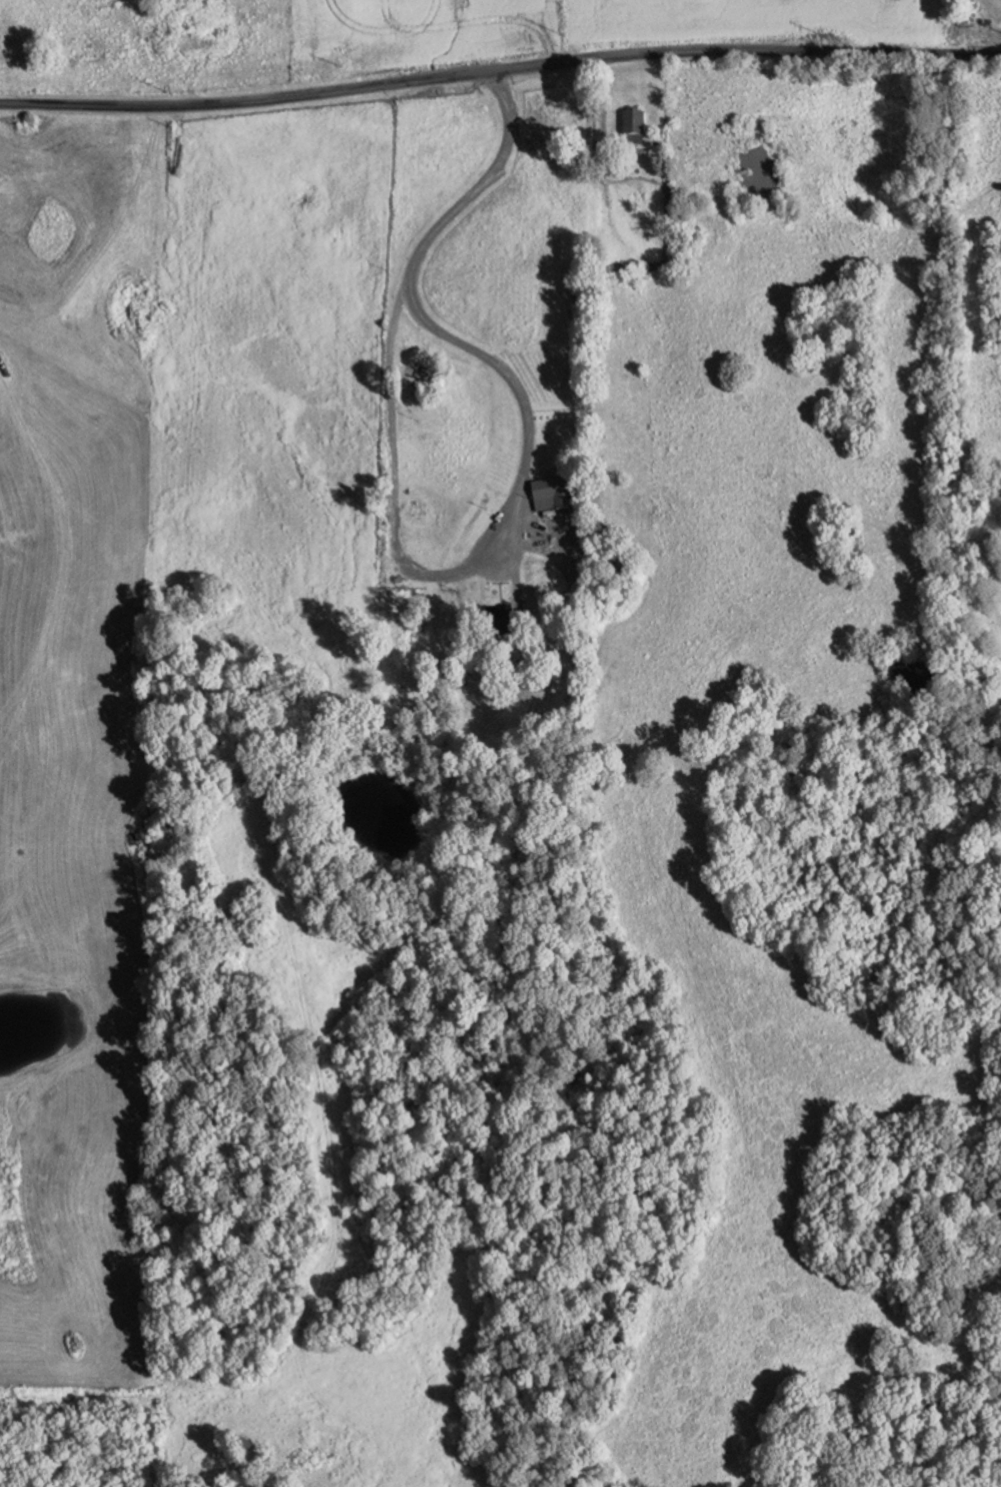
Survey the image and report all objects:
road: (499, 69)
road: (602, 107)
building: (633, 126)
road: (412, 262)
building: (550, 497)
road: (521, 500)
road: (497, 521)
road: (489, 570)
road: (514, 580)
building: (497, 623)

